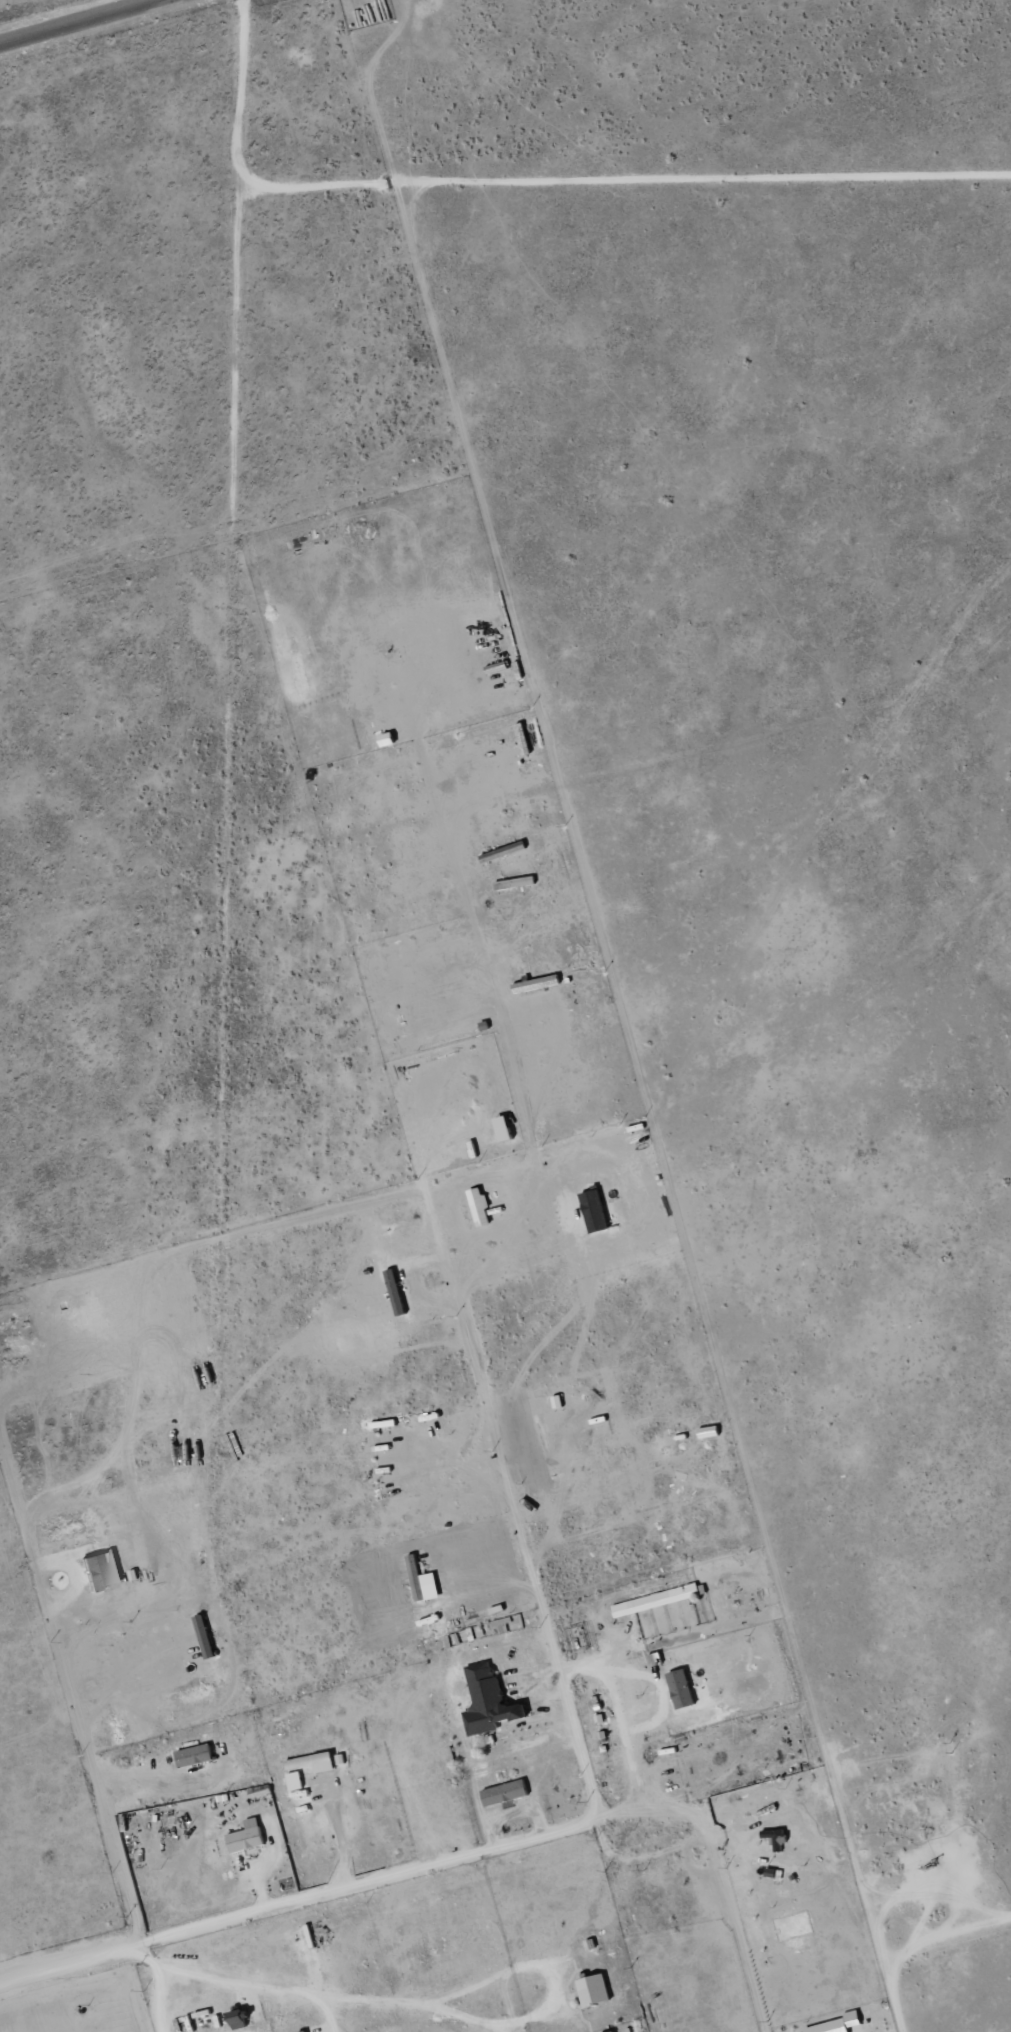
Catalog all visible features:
road: (83, 23)
building: (389, 739)
building: (482, 1206)
building: (597, 1210)
building: (97, 1571)
building: (658, 1600)
building: (657, 1659)
road: (559, 1678)
building: (490, 1700)
building: (197, 1755)
building: (310, 1767)
building: (507, 1792)
building: (772, 1835)
building: (249, 1836)
road: (328, 1893)
building: (596, 1990)
building: (308, 2031)
building: (623, 2031)

